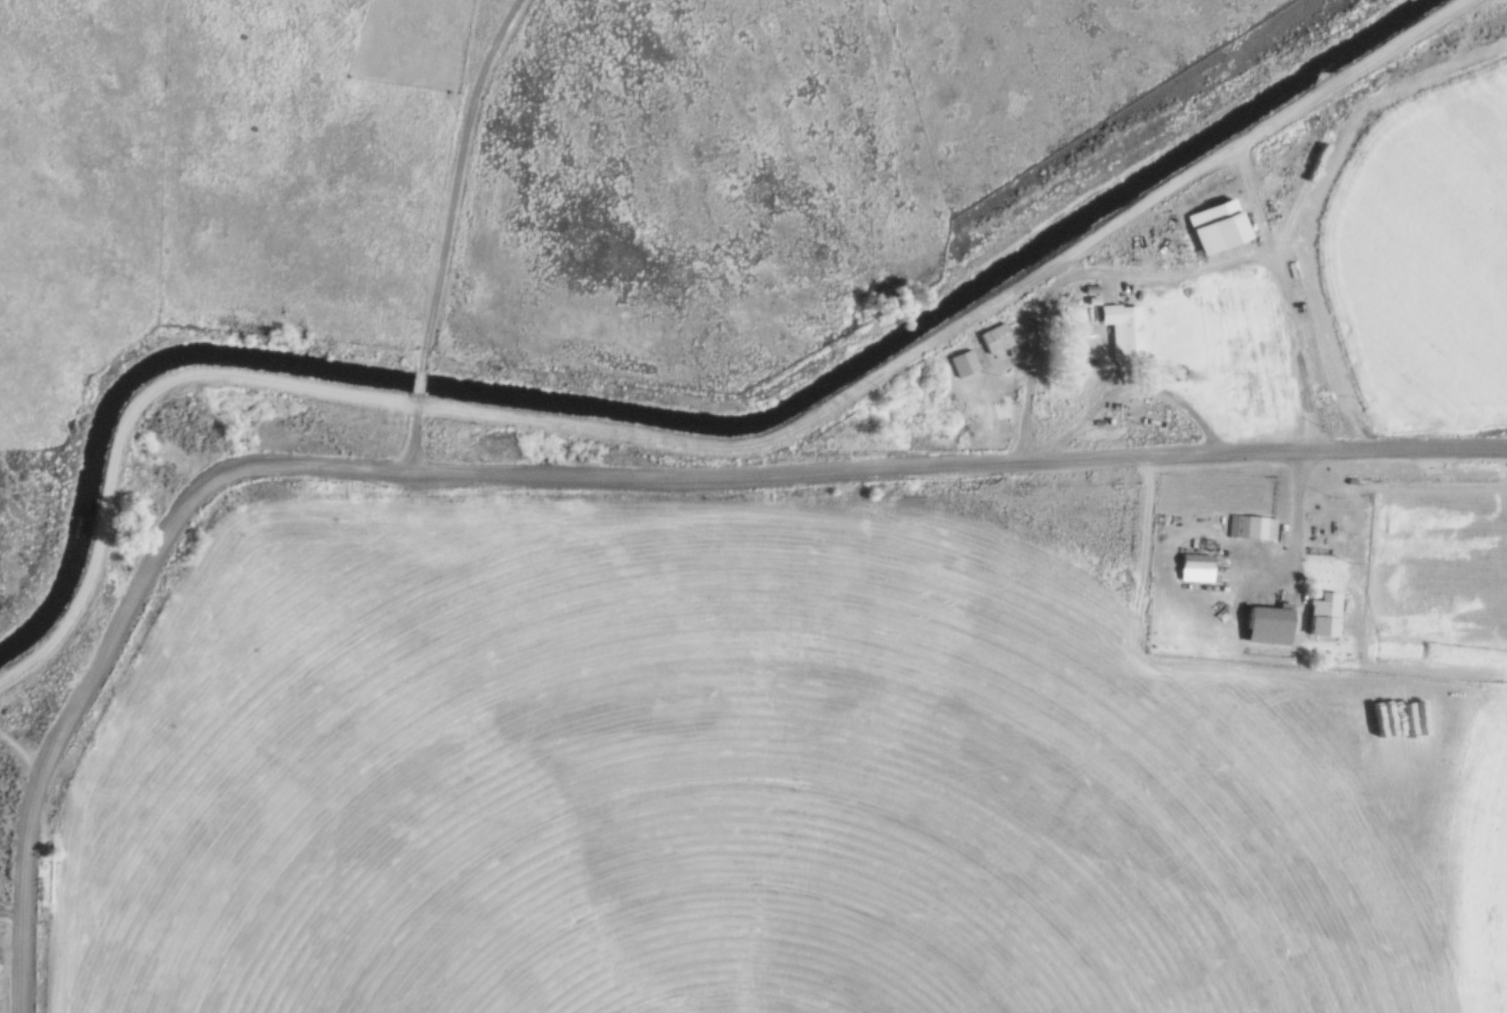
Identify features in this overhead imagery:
road: (22, 67)
road: (453, 179)
building: (1213, 226)
road: (1124, 269)
road: (1068, 275)
building: (1087, 289)
building: (1089, 300)
building: (1120, 331)
road: (416, 382)
road: (1129, 384)
road: (1303, 392)
road: (409, 433)
road: (699, 446)
road: (564, 474)
building: (1192, 562)
building: (1321, 614)
building: (1264, 625)
road: (1125, 675)
road: (9, 912)

